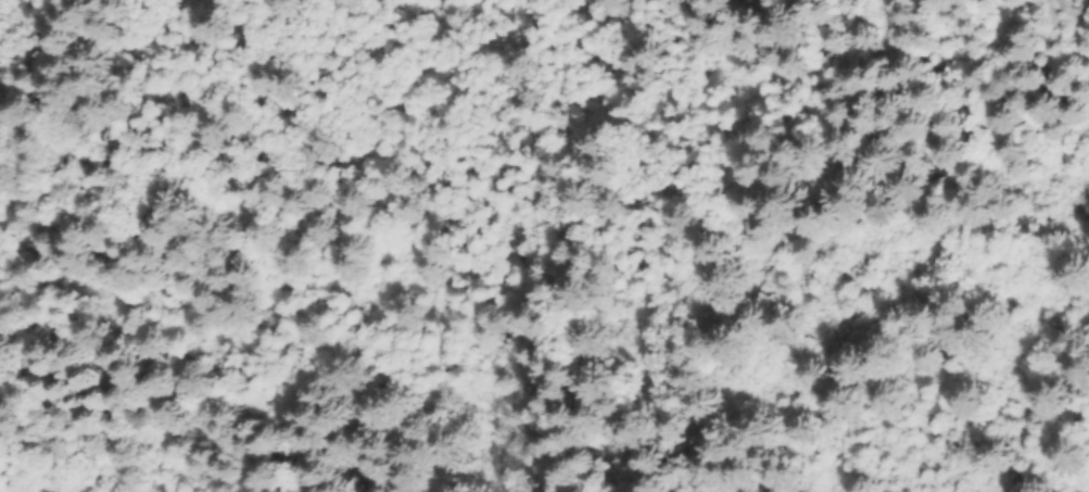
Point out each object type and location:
road: (564, 227)

